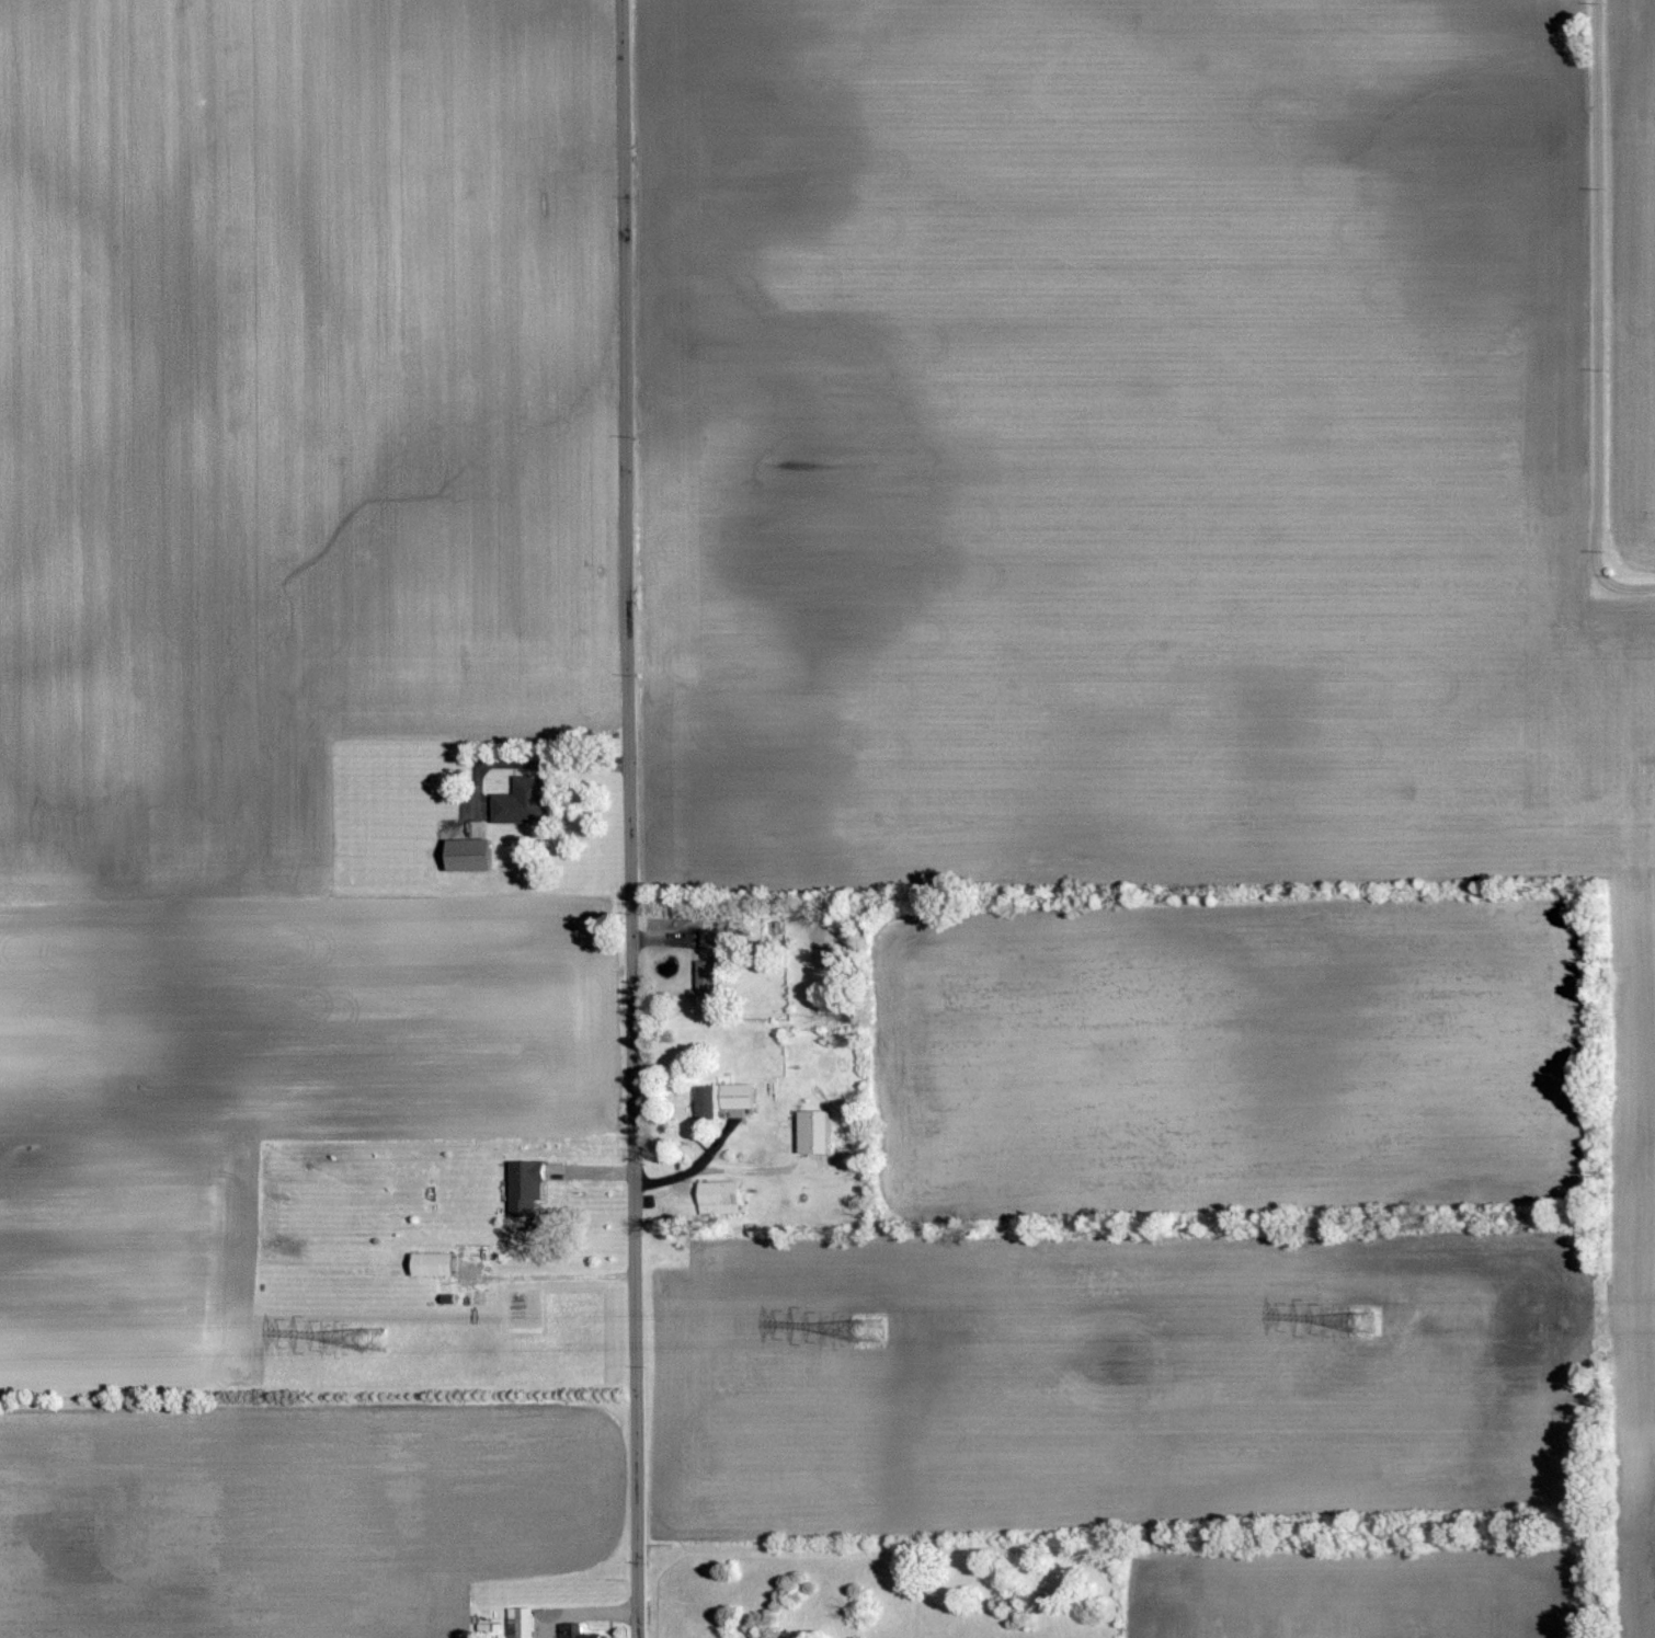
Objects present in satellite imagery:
road: (1596, 319)
road: (536, 763)
building: (520, 801)
road: (630, 818)
building: (464, 856)
building: (707, 940)
building: (703, 986)
building: (719, 1100)
building: (809, 1133)
building: (522, 1188)
building: (716, 1198)
building: (427, 1264)
road: (549, 1273)
power tower: (1366, 1324)
power tower: (869, 1331)
power tower: (373, 1340)
building: (573, 1631)

